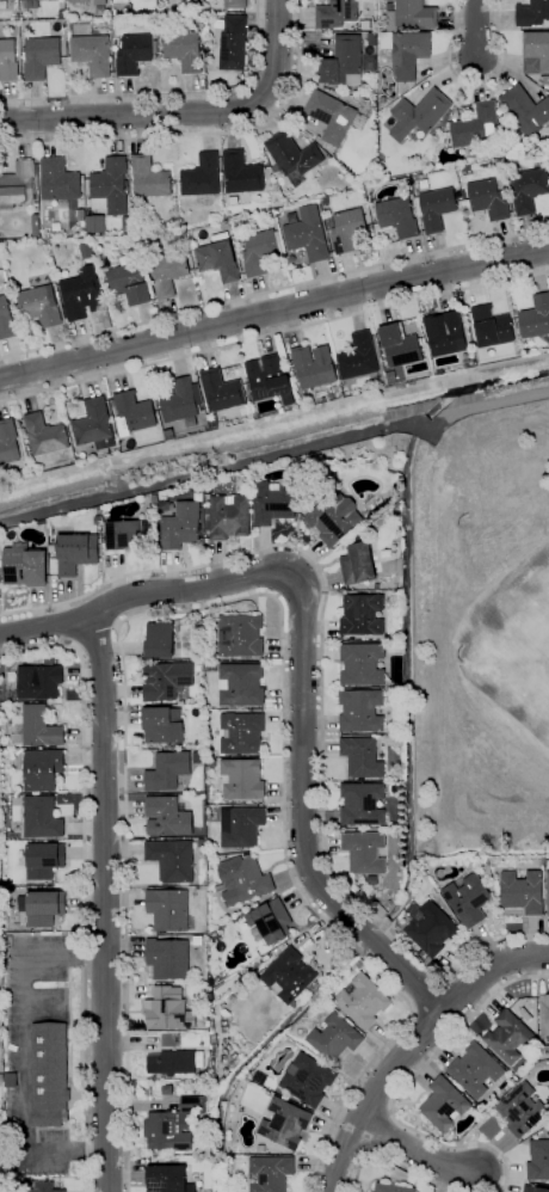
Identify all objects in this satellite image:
building: (190, 0)
building: (389, 0)
building: (78, 1)
building: (121, 1)
building: (146, 1)
building: (100, 2)
building: (29, 4)
building: (235, 4)
building: (389, 6)
building: (100, 11)
building: (335, 13)
building: (531, 13)
building: (61, 14)
building: (412, 16)
road: (457, 16)
road: (495, 16)
road: (476, 30)
building: (371, 42)
building: (117, 43)
building: (233, 44)
building: (183, 50)
building: (134, 53)
building: (406, 53)
building: (536, 53)
building: (92, 54)
building: (41, 57)
road: (445, 59)
building: (7, 60)
road: (500, 61)
building: (346, 62)
road: (439, 76)
building: (545, 80)
road: (479, 81)
road: (477, 84)
road: (167, 93)
building: (382, 99)
building: (525, 110)
building: (419, 113)
building: (331, 116)
road: (183, 117)
building: (477, 127)
road: (199, 134)
building: (292, 156)
building: (276, 168)
building: (240, 173)
building: (202, 177)
building: (149, 178)
building: (58, 180)
building: (17, 184)
building: (110, 188)
building: (528, 189)
building: (488, 199)
building: (437, 208)
building: (269, 215)
building: (397, 216)
building: (95, 223)
building: (125, 223)
building: (167, 225)
building: (36, 226)
building: (347, 231)
building: (307, 234)
building: (86, 251)
building: (260, 251)
building: (217, 258)
building: (167, 272)
building: (129, 283)
road: (273, 290)
building: (81, 294)
building: (38, 306)
road: (273, 312)
building: (536, 318)
building: (6, 320)
building: (491, 326)
building: (445, 332)
road: (273, 334)
building: (400, 345)
building: (358, 357)
building: (313, 365)
building: (267, 380)
building: (221, 391)
building: (181, 400)
building: (301, 404)
building: (132, 413)
building: (94, 425)
building: (45, 435)
building: (169, 435)
building: (8, 442)
road: (274, 454)
building: (273, 502)
building: (229, 516)
building: (333, 517)
building: (43, 522)
building: (180, 526)
building: (125, 535)
building: (358, 535)
building: (76, 552)
building: (357, 564)
building: (25, 566)
building: (377, 586)
road: (140, 596)
road: (248, 596)
building: (362, 615)
building: (240, 635)
building: (160, 640)
building: (362, 664)
building: (211, 666)
building: (166, 681)
building: (38, 682)
building: (240, 684)
road: (321, 686)
building: (360, 711)
building: (162, 725)
building: (37, 727)
building: (241, 733)
building: (197, 757)
building: (362, 757)
building: (211, 763)
building: (42, 769)
building: (167, 770)
building: (242, 779)
building: (362, 804)
road: (303, 815)
building: (167, 817)
building: (42, 818)
building: (240, 827)
building: (364, 852)
building: (44, 860)
building: (172, 860)
building: (547, 862)
road: (84, 880)
building: (241, 880)
building: (496, 884)
building: (548, 890)
building: (523, 891)
building: (468, 899)
road: (104, 903)
building: (388, 904)
building: (42, 908)
building: (167, 909)
building: (270, 921)
building: (430, 927)
building: (167, 958)
road: (488, 971)
building: (289, 976)
building: (362, 1001)
road: (41, 1002)
building: (168, 1009)
building: (544, 1016)
building: (224, 1028)
building: (508, 1036)
building: (334, 1038)
building: (212, 1039)
road: (21, 1051)
building: (543, 1051)
building: (173, 1062)
building: (475, 1070)
building: (49, 1075)
building: (307, 1080)
building: (11, 1081)
road: (402, 1088)
building: (197, 1089)
road: (372, 1094)
building: (443, 1104)
building: (192, 1105)
building: (522, 1110)
building: (284, 1123)
building: (167, 1131)
building: (260, 1149)
road: (414, 1151)
building: (538, 1160)
road: (391, 1162)
building: (270, 1173)
building: (168, 1179)
building: (43, 1187)
building: (391, 1188)
building: (533, 1188)

